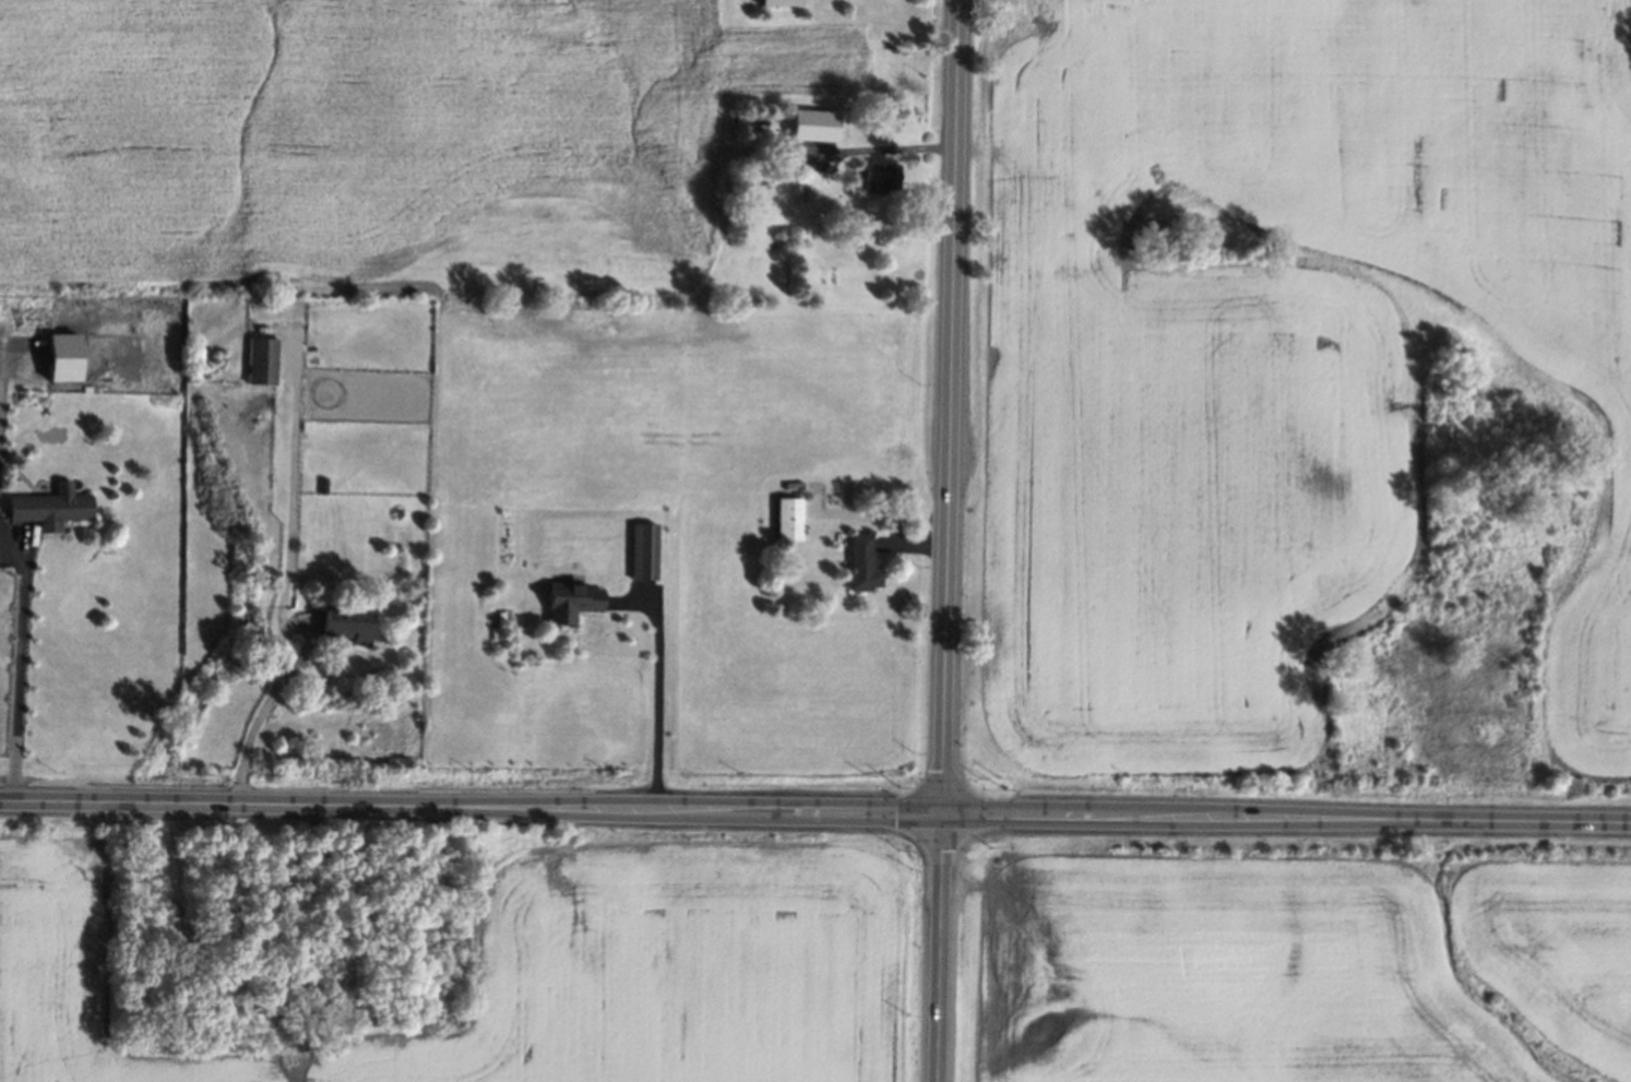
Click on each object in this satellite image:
building: (782, 2)
building: (814, 126)
crop: (397, 127)
road: (879, 147)
building: (880, 178)
building: (66, 356)
building: (263, 361)
crop: (1311, 393)
road: (953, 407)
building: (51, 508)
road: (895, 515)
building: (788, 519)
building: (644, 552)
building: (861, 564)
road: (289, 572)
building: (571, 603)
building: (349, 626)
road: (22, 677)
road: (658, 682)
road: (814, 813)
traffic signals: (945, 816)
road: (943, 949)
crop: (1560, 951)
crop: (1233, 973)
crop: (678, 974)
crop: (73, 982)

